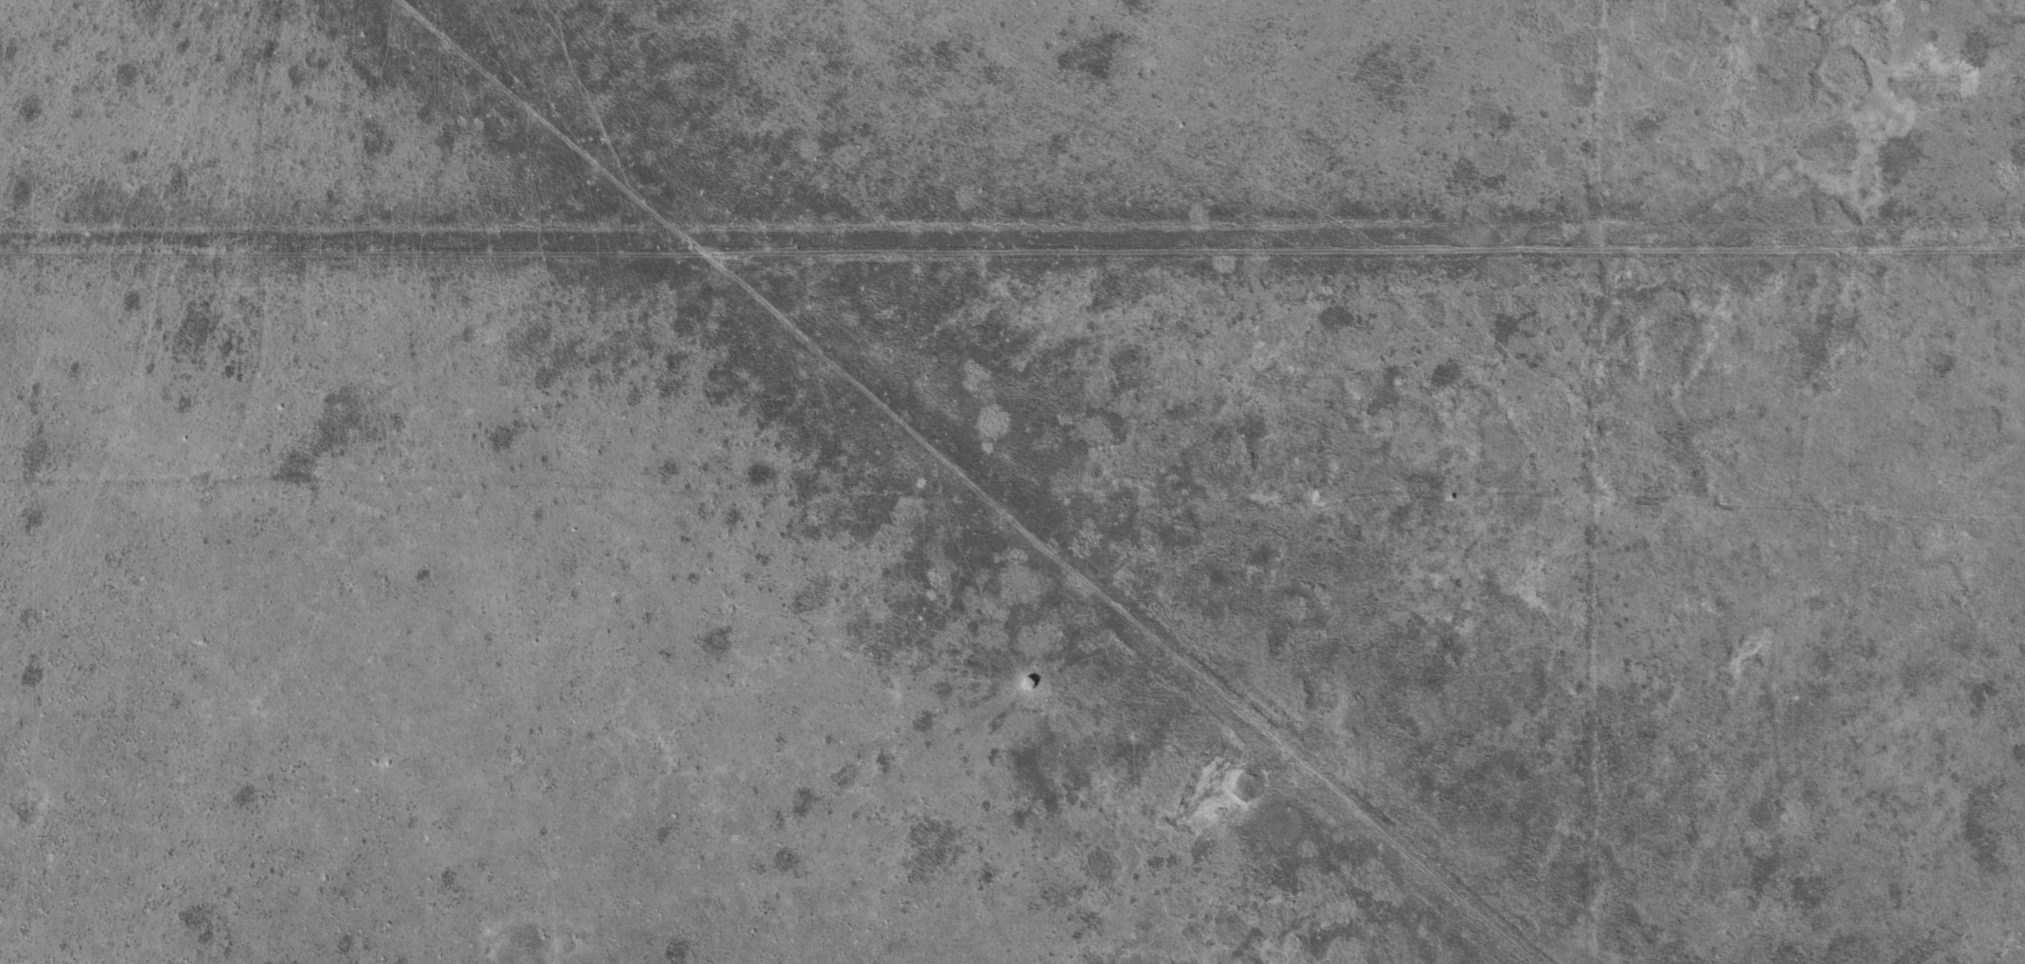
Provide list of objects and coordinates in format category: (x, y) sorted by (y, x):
road: (282, 255)
road: (1013, 513)
road: (1622, 749)

